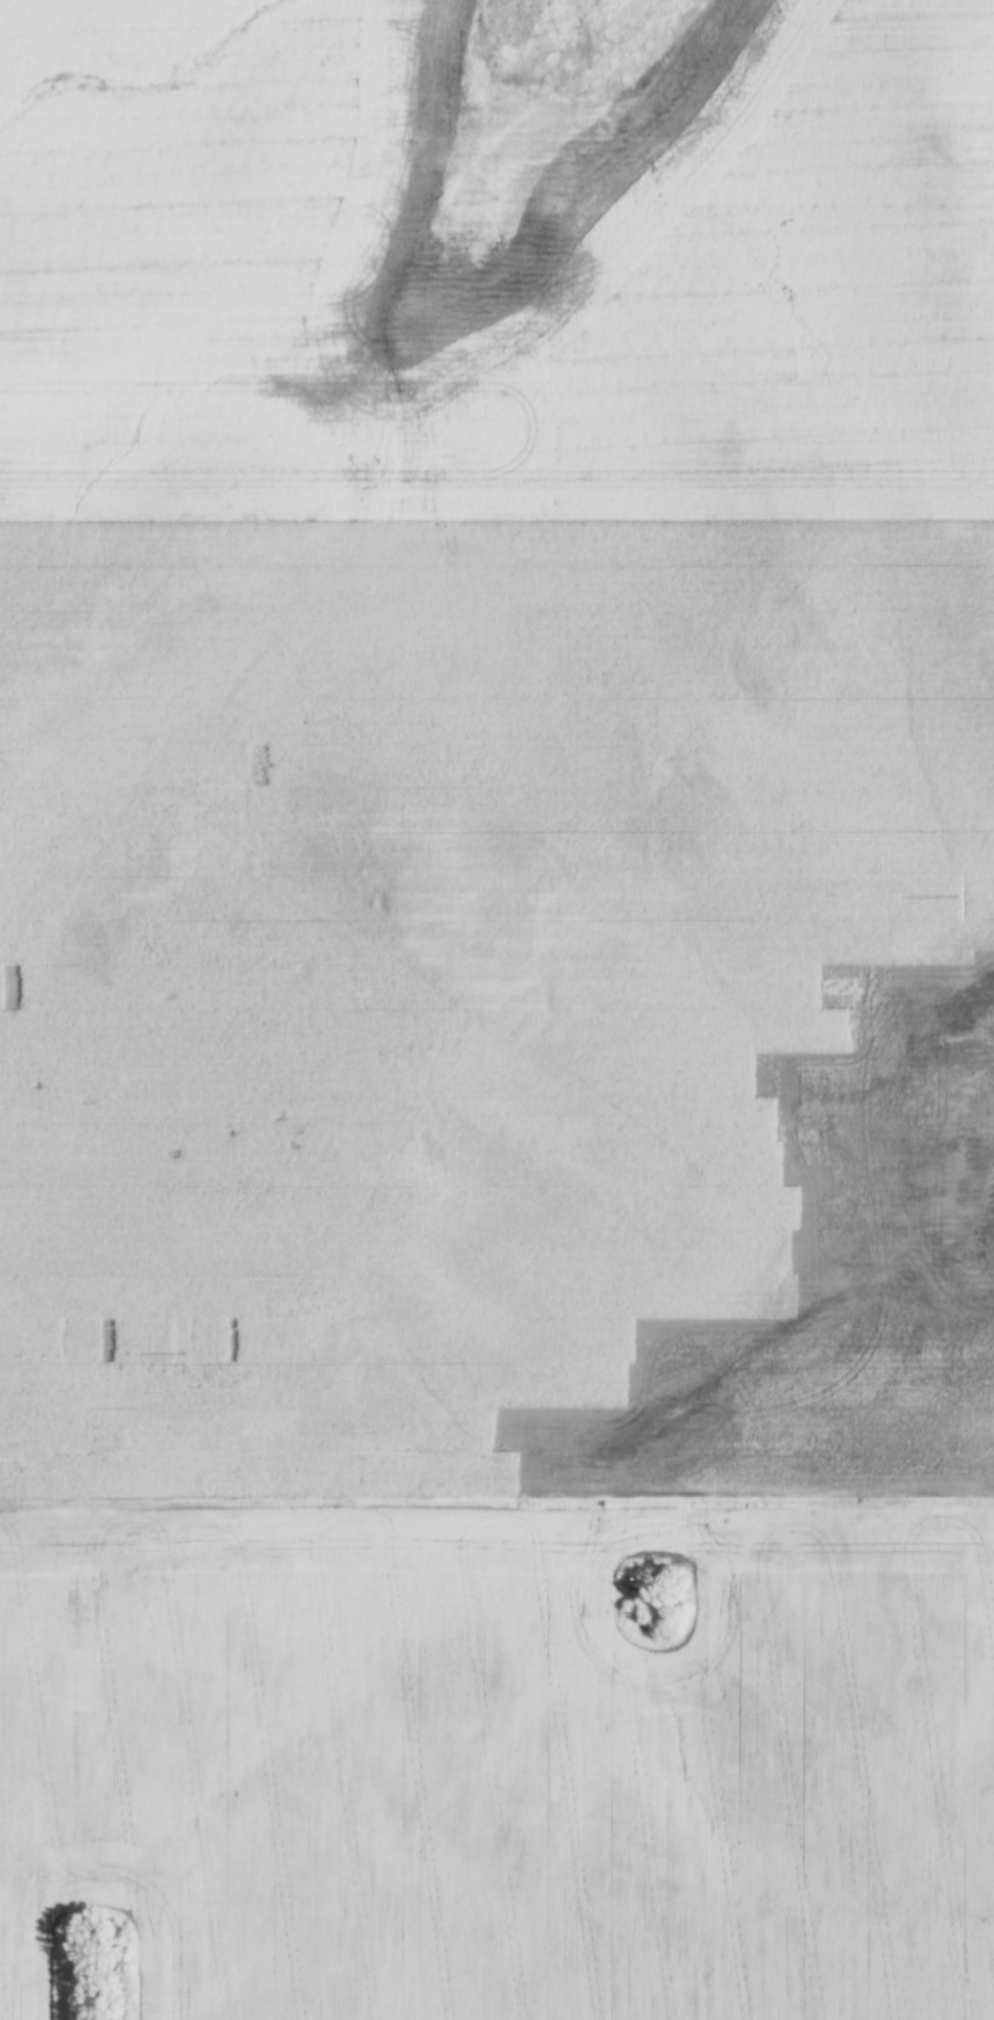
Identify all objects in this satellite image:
crop: (494, 769)
crop: (500, 1764)

